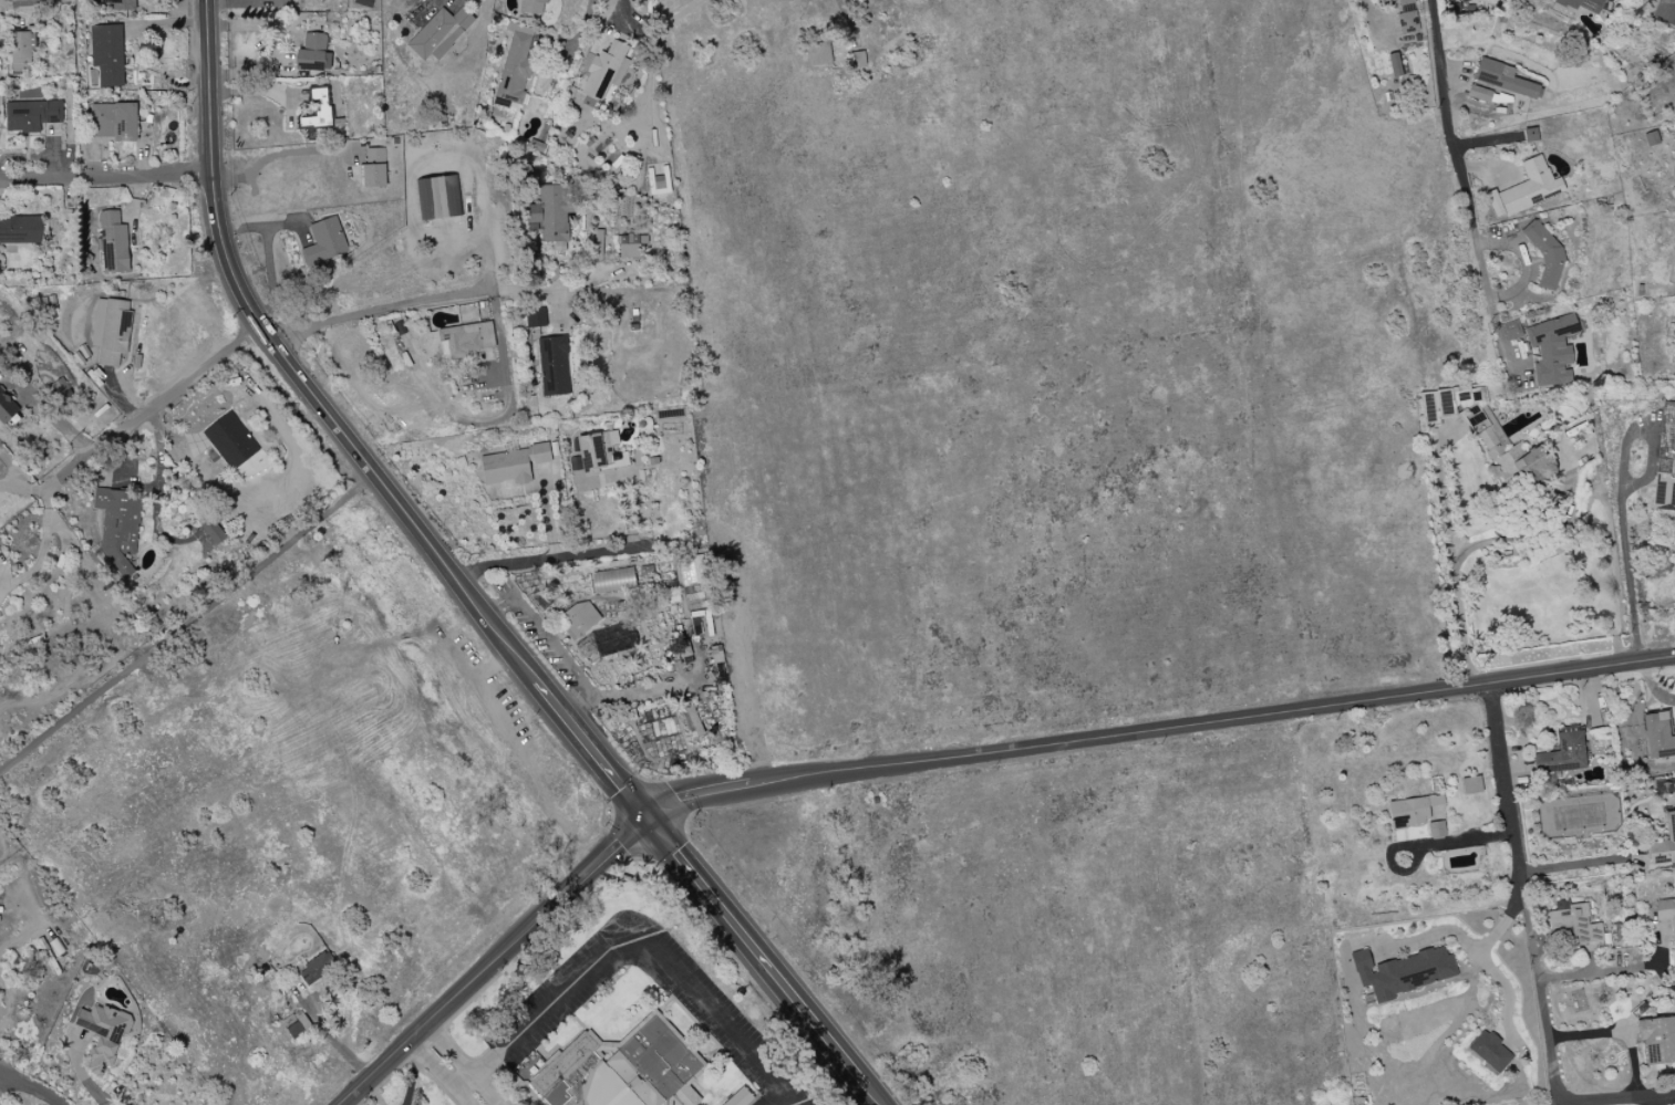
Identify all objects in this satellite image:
building: (1379, 0)
building: (1465, 1)
building: (118, 4)
building: (1583, 4)
building: (531, 7)
building: (1665, 12)
road: (622, 15)
building: (1407, 17)
road: (1371, 18)
road: (582, 28)
building: (438, 33)
road: (280, 44)
building: (22, 51)
building: (107, 54)
building: (313, 54)
building: (818, 54)
building: (856, 60)
building: (515, 67)
building: (606, 71)
building: (1505, 81)
building: (1479, 94)
building: (319, 110)
building: (31, 116)
building: (113, 122)
road: (278, 154)
building: (374, 167)
road: (107, 177)
road: (1467, 179)
building: (1527, 189)
building: (440, 198)
building: (20, 230)
building: (324, 242)
building: (114, 243)
building: (629, 247)
road: (382, 310)
building: (535, 317)
building: (112, 330)
building: (1510, 331)
building: (0, 336)
building: (467, 338)
building: (1550, 350)
building: (554, 366)
road: (294, 372)
building: (1435, 407)
building: (6, 408)
road: (153, 408)
building: (235, 447)
building: (591, 459)
building: (1665, 461)
building: (1518, 463)
building: (513, 465)
road: (23, 488)
road: (1622, 508)
building: (118, 527)
building: (210, 532)
road: (1533, 533)
road: (42, 550)
road: (570, 557)
road: (1452, 565)
building: (613, 580)
building: (580, 618)
road: (188, 623)
building: (692, 626)
road: (548, 643)
building: (1658, 737)
road: (591, 751)
building: (1562, 753)
road: (948, 758)
road: (1507, 779)
building: (1471, 785)
building: (1413, 811)
traffic signals: (648, 821)
building: (1436, 830)
building: (1664, 843)
road: (1579, 866)
road: (1516, 894)
building: (1666, 914)
building: (1576, 924)
road: (1457, 935)
road: (633, 938)
road: (756, 953)
building: (317, 968)
road: (1610, 971)
building: (1403, 972)
road: (1508, 993)
road: (1615, 1032)
building: (103, 1034)
road: (337, 1039)
building: (1657, 1040)
road: (1545, 1044)
building: (1490, 1051)
road: (452, 1066)
building: (622, 1068)
road: (39, 1086)
road: (871, 1096)
road: (1627, 1096)
building: (740, 1097)

